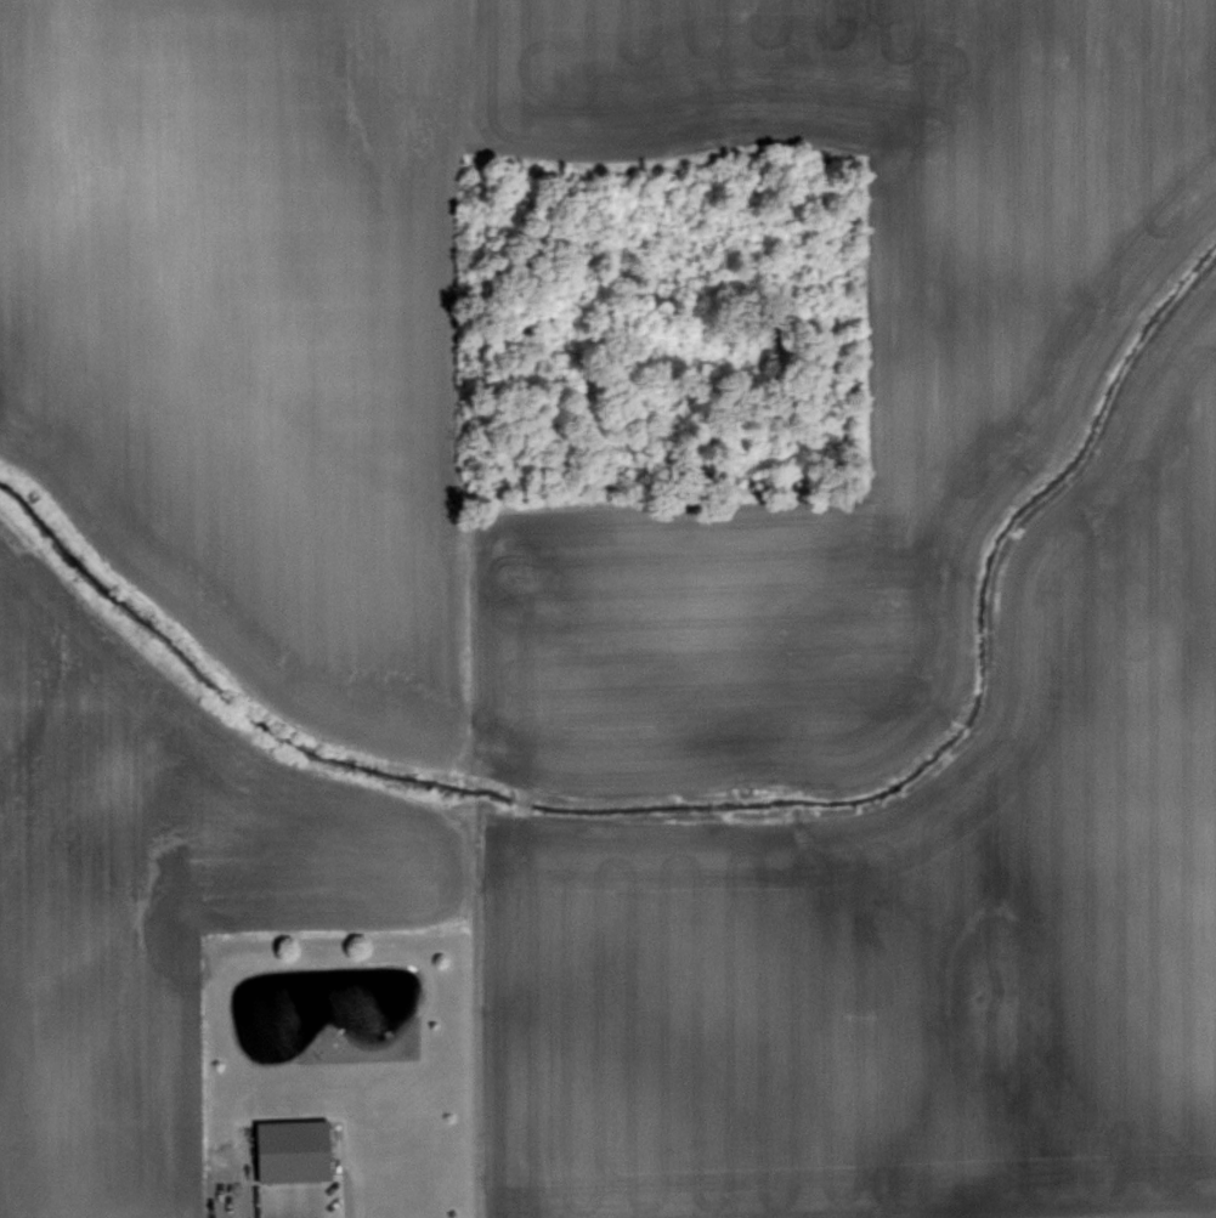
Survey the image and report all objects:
building: (287, 1148)

